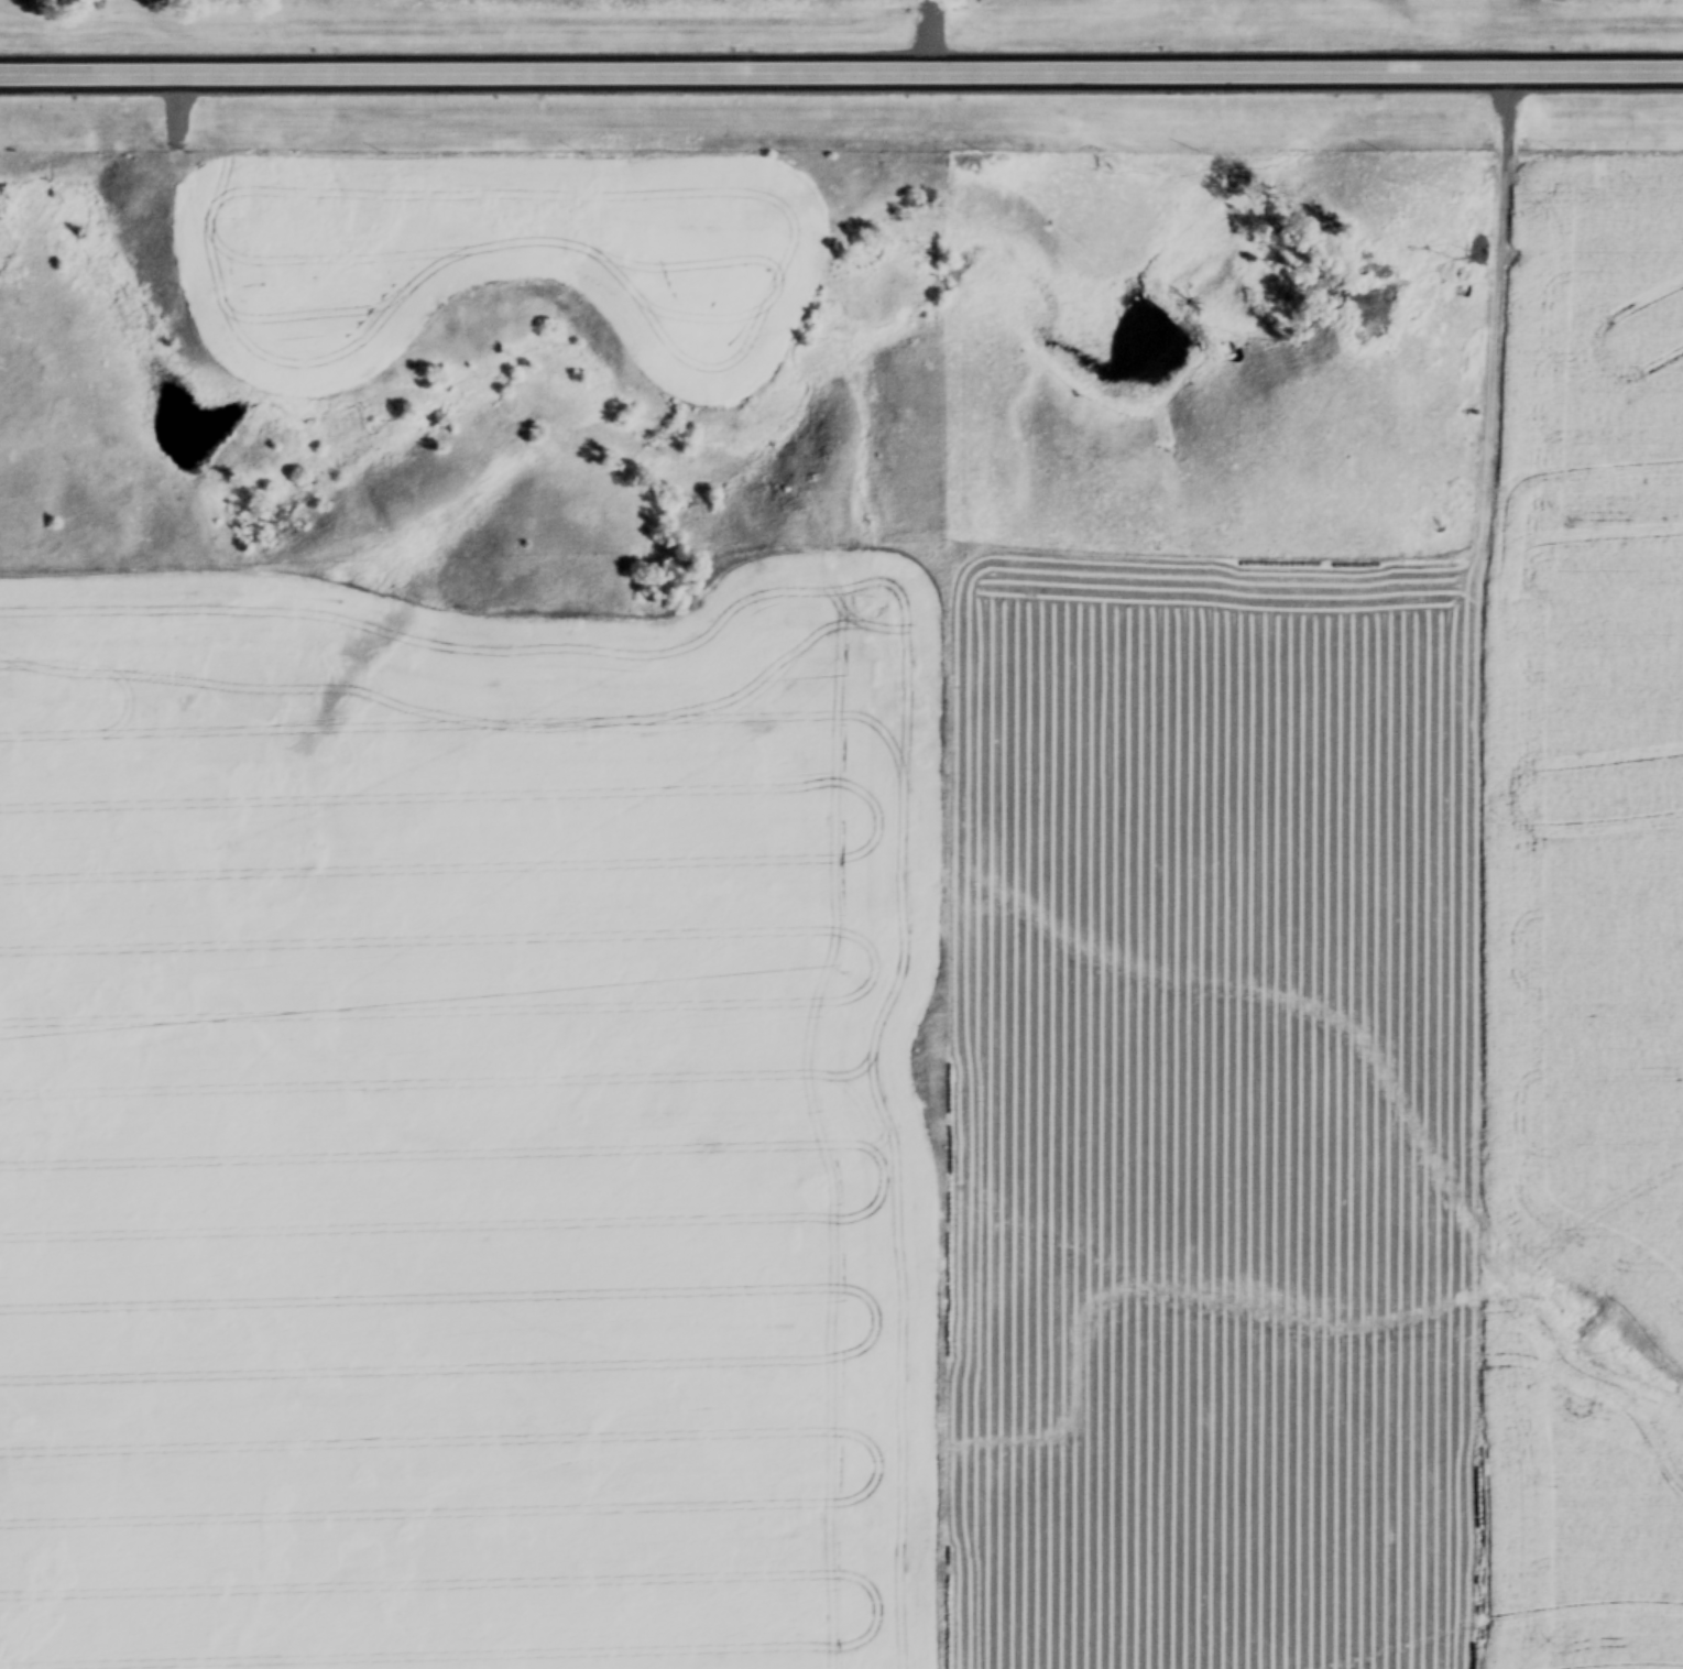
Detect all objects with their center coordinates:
road: (841, 70)
river: (1075, 348)
river: (142, 374)

